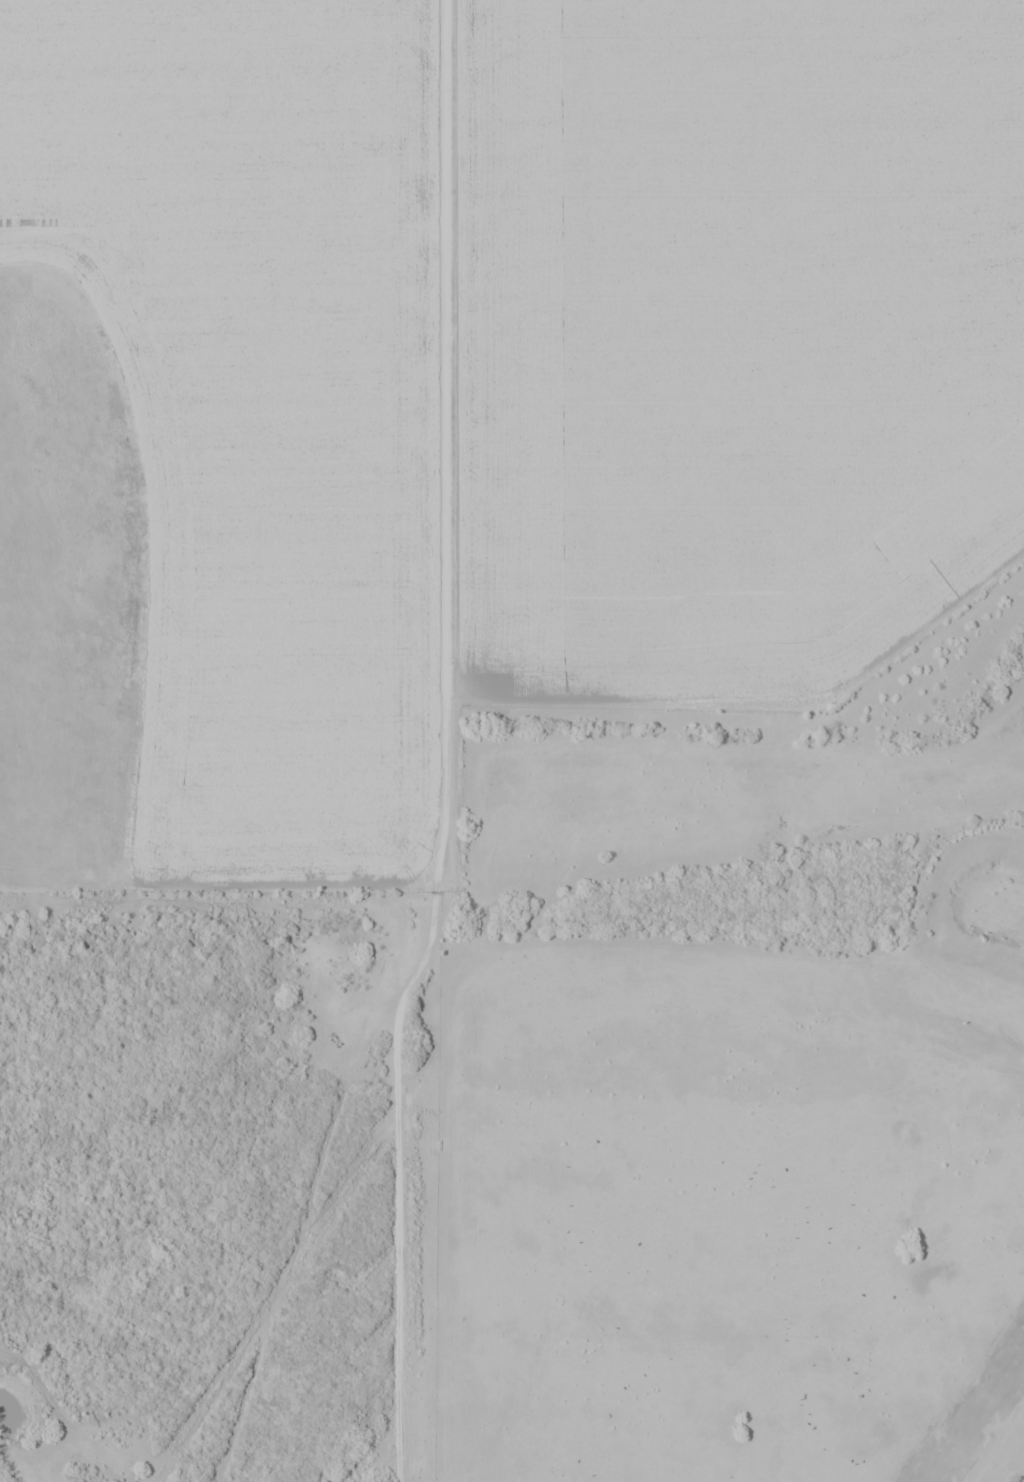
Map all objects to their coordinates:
road: (445, 446)
road: (400, 1181)

